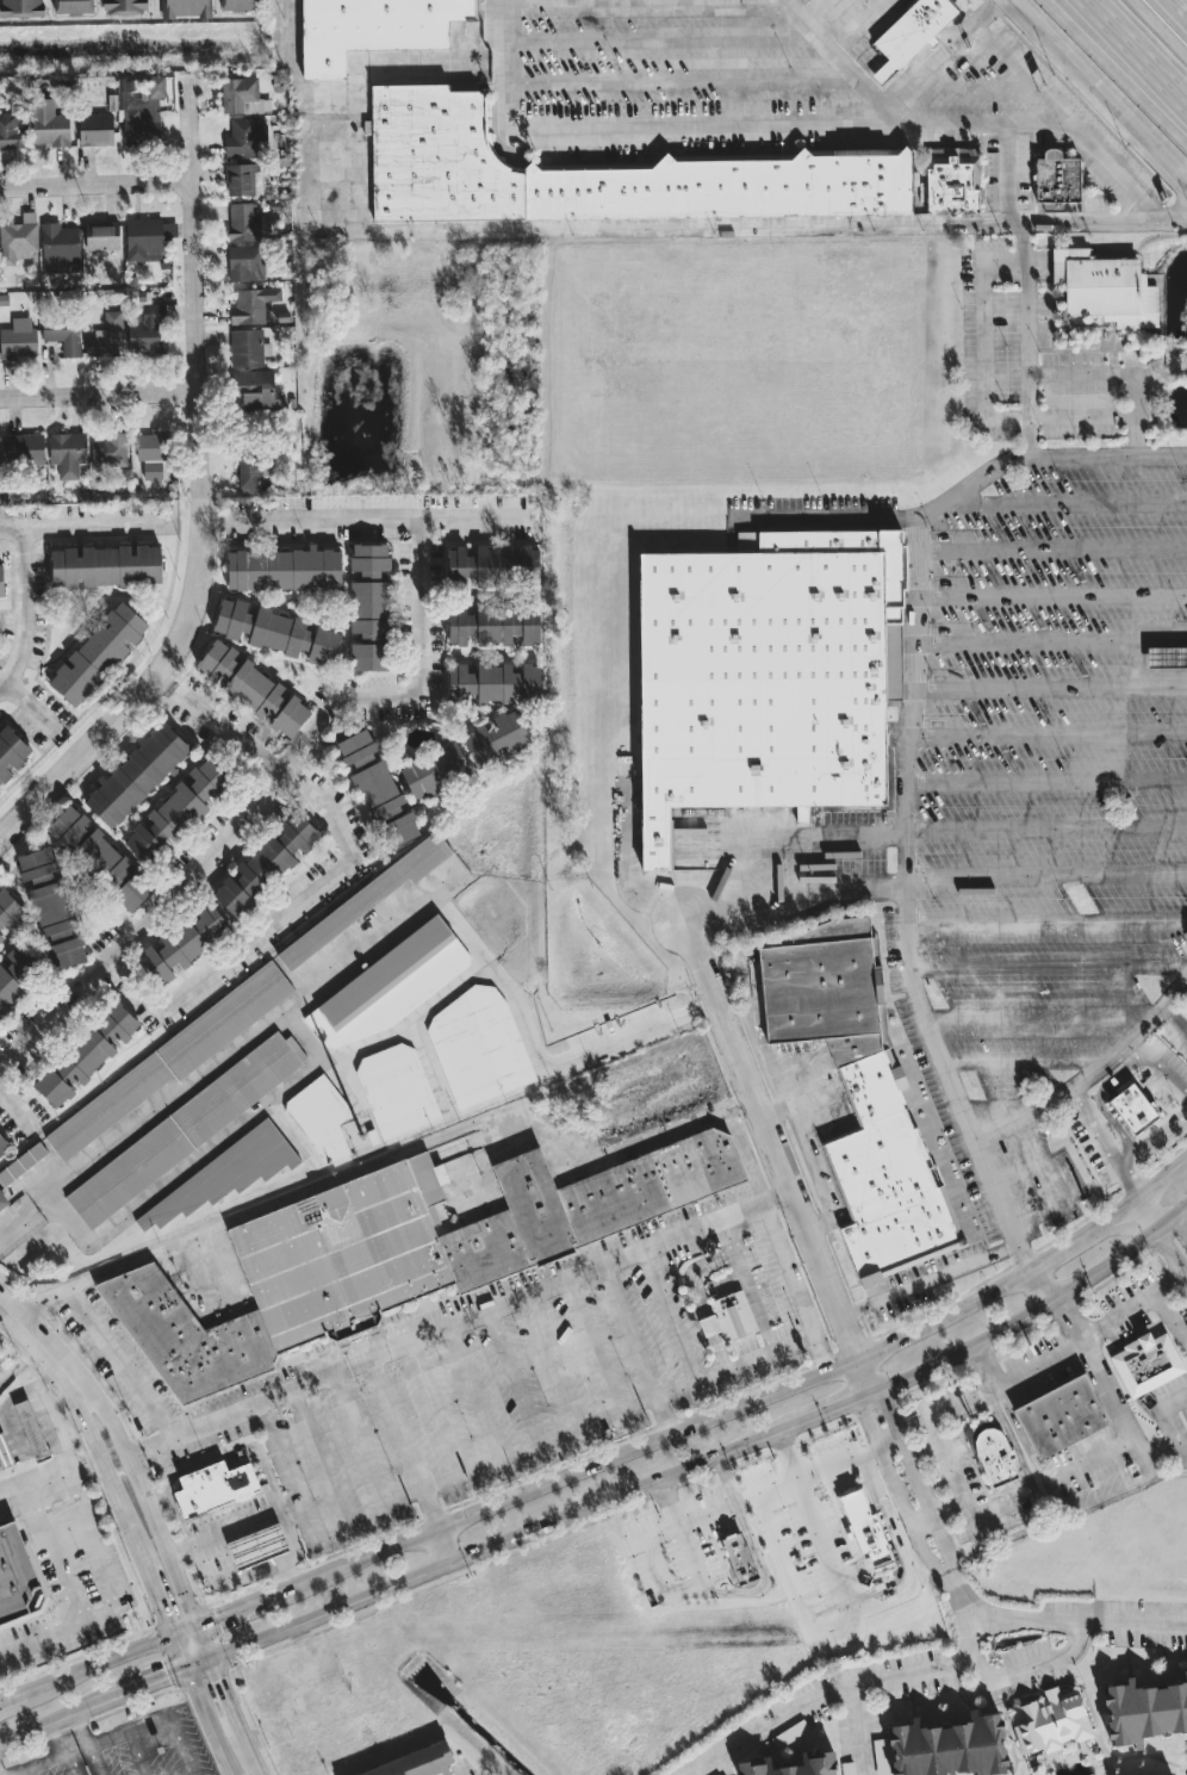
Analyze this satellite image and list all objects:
road: (1186, 0)
building: (237, 5)
building: (72, 6)
building: (124, 6)
building: (20, 7)
building: (186, 8)
road: (820, 18)
parking lot: (853, 19)
building: (380, 32)
road: (857, 35)
road: (1154, 35)
building: (913, 37)
road: (664, 38)
road: (940, 55)
road: (1126, 62)
road: (843, 63)
parking lot: (671, 64)
road: (1111, 72)
road: (684, 81)
parking lot: (998, 82)
road: (971, 85)
road: (1100, 93)
building: (242, 97)
building: (142, 112)
road: (1068, 122)
building: (49, 124)
building: (167, 124)
road: (189, 129)
building: (95, 130)
road: (728, 130)
building: (12, 131)
building: (244, 136)
building: (4, 160)
road: (1006, 173)
building: (595, 176)
building: (243, 180)
building: (953, 182)
road: (95, 184)
building: (1058, 187)
building: (243, 222)
road: (627, 228)
building: (101, 237)
building: (18, 238)
building: (148, 240)
building: (60, 249)
building: (246, 263)
building: (1112, 293)
building: (251, 305)
building: (148, 328)
building: (62, 334)
building: (106, 337)
road: (983, 339)
building: (18, 340)
road: (1024, 340)
building: (248, 348)
parking lot: (1040, 361)
road: (1120, 374)
building: (250, 387)
road: (99, 393)
road: (1081, 417)
building: (24, 447)
building: (1, 451)
building: (108, 451)
building: (68, 453)
building: (153, 453)
building: (248, 472)
road: (201, 484)
road: (1074, 502)
road: (361, 514)
road: (87, 522)
road: (833, 523)
road: (1049, 551)
building: (105, 566)
building: (490, 567)
building: (284, 570)
building: (1, 582)
road: (1049, 596)
building: (368, 606)
road: (17, 609)
building: (492, 625)
building: (276, 632)
road: (1049, 643)
building: (98, 654)
building: (1166, 658)
road: (1137, 662)
road: (911, 676)
building: (763, 678)
road: (164, 681)
building: (492, 683)
road: (1048, 685)
building: (253, 689)
road: (32, 706)
road: (224, 726)
road: (1049, 734)
building: (496, 738)
building: (11, 752)
building: (433, 770)
building: (136, 775)
road: (1048, 782)
building: (377, 787)
parking lot: (1054, 788)
road: (43, 794)
building: (188, 801)
road: (341, 805)
road: (1048, 828)
building: (296, 834)
building: (142, 844)
road: (908, 855)
building: (100, 858)
building: (251, 877)
road: (1046, 877)
road: (907, 892)
building: (365, 899)
road: (167, 904)
building: (51, 908)
building: (8, 912)
road: (1049, 925)
building: (181, 945)
road: (365, 947)
road: (1050, 968)
building: (14, 976)
building: (386, 988)
road: (1175, 989)
building: (1183, 1008)
road: (1043, 1014)
road: (304, 1034)
building: (479, 1047)
building: (87, 1056)
building: (170, 1060)
road: (1027, 1060)
road: (1158, 1067)
road: (1081, 1081)
building: (397, 1090)
road: (1099, 1096)
building: (870, 1101)
road: (15, 1107)
road: (259, 1107)
building: (1132, 1112)
road: (1026, 1113)
building: (321, 1117)
building: (185, 1129)
road: (456, 1134)
road: (1151, 1135)
road: (773, 1142)
building: (2, 1144)
building: (21, 1163)
building: (223, 1175)
road: (1051, 1181)
road: (1164, 1186)
building: (2, 1202)
road: (1157, 1210)
road: (1150, 1215)
road: (1180, 1225)
road: (1172, 1249)
building: (402, 1254)
road: (931, 1278)
road: (92, 1281)
road: (750, 1283)
road: (1043, 1286)
road: (698, 1299)
road: (1027, 1312)
road: (667, 1316)
building: (732, 1316)
road: (1170, 1316)
road: (459, 1318)
building: (708, 1326)
road: (632, 1330)
road: (1093, 1333)
road: (43, 1345)
road: (592, 1346)
road: (822, 1354)
road: (551, 1363)
building: (1145, 1363)
road: (125, 1364)
road: (984, 1365)
road: (869, 1374)
road: (512, 1377)
road: (858, 1379)
parking lot: (545, 1388)
road: (476, 1391)
road: (1111, 1396)
road: (434, 1398)
road: (461, 1411)
road: (824, 1411)
road: (723, 1413)
road: (1164, 1413)
road: (664, 1416)
building: (1059, 1416)
road: (396, 1423)
road: (52, 1429)
road: (1021, 1436)
road: (560, 1438)
road: (358, 1439)
road: (938, 1441)
building: (36, 1442)
road: (226, 1453)
road: (317, 1456)
building: (994, 1457)
road: (849, 1459)
road: (1093, 1459)
road: (884, 1463)
road: (788, 1479)
road: (918, 1479)
road: (727, 1481)
road: (33, 1487)
building: (215, 1488)
road: (671, 1501)
road: (149, 1506)
road: (433, 1512)
road: (708, 1514)
road: (126, 1516)
building: (868, 1523)
road: (924, 1525)
road: (232, 1528)
road: (502, 1540)
building: (256, 1546)
road: (447, 1546)
road: (293, 1551)
road: (926, 1554)
building: (738, 1558)
road: (95, 1559)
road: (762, 1575)
building: (17, 1578)
road: (956, 1584)
road: (793, 1588)
road: (951, 1588)
road: (72, 1593)
road: (666, 1593)
road: (876, 1593)
road: (244, 1608)
road: (1024, 1619)
traffic signals: (200, 1626)
road: (976, 1626)
road: (1129, 1626)
road: (188, 1631)
traffic signals: (176, 1637)
road: (207, 1643)
road: (184, 1652)
road: (111, 1658)
traffic signals: (215, 1659)
road: (203, 1664)
traffic signals: (191, 1669)
road: (1028, 1670)
road: (150, 1684)
road: (24, 1690)
road: (821, 1698)
road: (229, 1701)
building: (1144, 1711)
road: (54, 1720)
road: (210, 1721)
building: (1050, 1721)
road: (170, 1726)
road: (69, 1732)
road: (859, 1732)
building: (789, 1733)
building: (947, 1748)
road: (67, 1750)
parking lot: (130, 1751)
road: (137, 1751)
building: (880, 1757)
road: (251, 1758)
road: (82, 1761)
building: (415, 1763)
building: (793, 1765)
road: (26, 1771)

